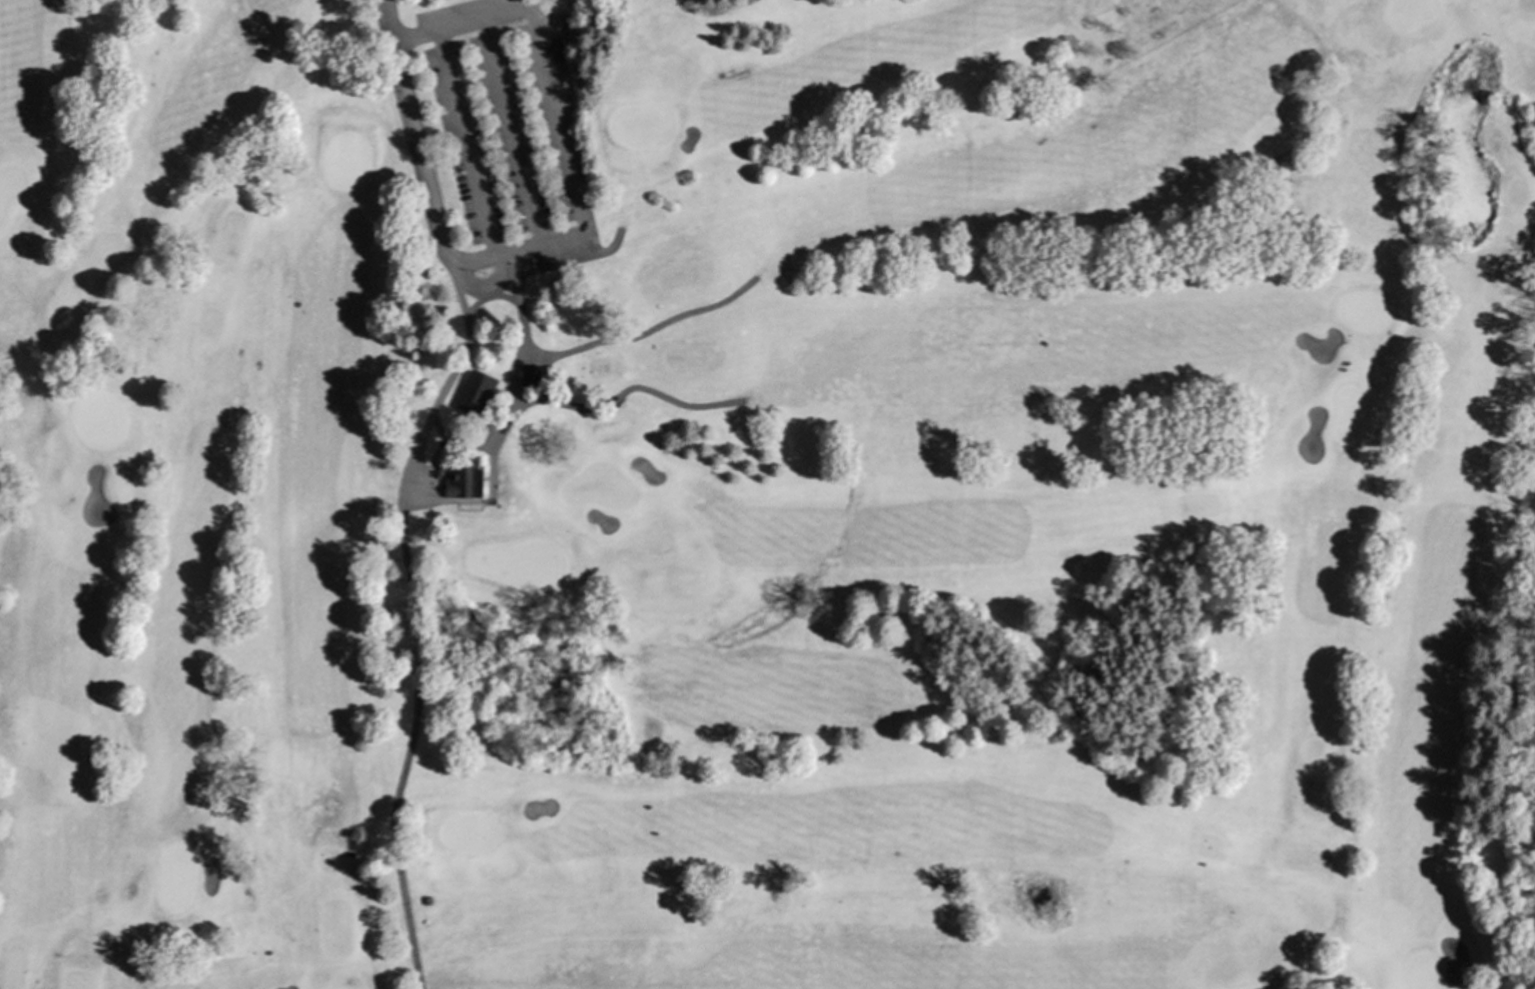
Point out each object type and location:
road: (464, 22)
road: (560, 124)
parking lot: (505, 127)
road: (512, 131)
road: (415, 135)
road: (467, 143)
road: (407, 148)
road: (547, 242)
road: (602, 252)
road: (484, 258)
road: (541, 269)
road: (514, 277)
road: (484, 285)
road: (469, 294)
road: (499, 296)
road: (471, 306)
road: (643, 333)
road: (520, 357)
building: (530, 376)
road: (621, 392)
building: (475, 393)
road: (527, 401)
building: (411, 415)
road: (500, 429)
road: (442, 441)
road: (467, 447)
building: (462, 476)
road: (491, 476)
park: (767, 494)
road: (466, 501)
road: (421, 510)
road: (413, 620)

